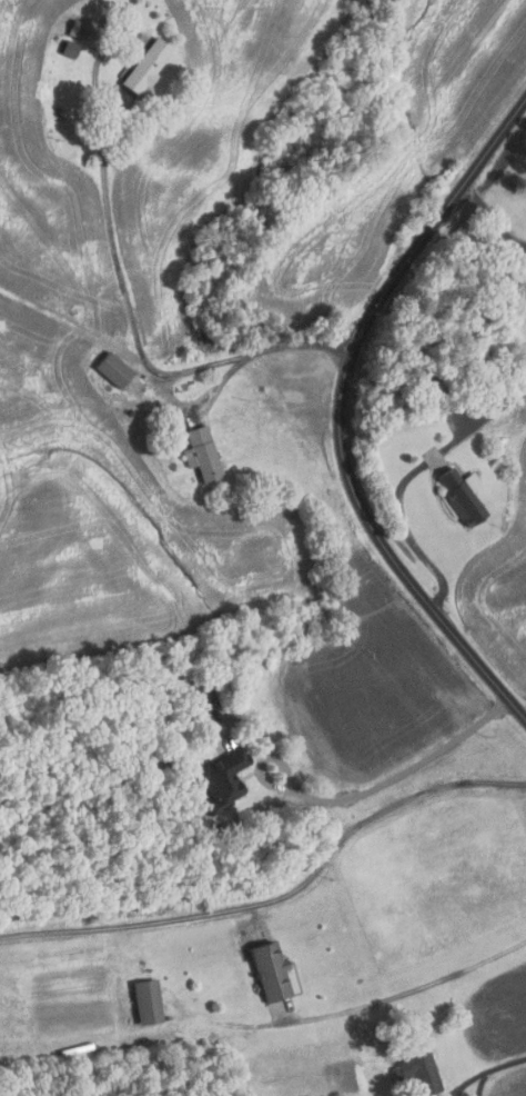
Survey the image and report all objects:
building: (77, 29)
building: (70, 48)
building: (145, 68)
road: (105, 217)
road: (495, 223)
road: (518, 242)
road: (65, 329)
road: (264, 348)
road: (220, 381)
building: (438, 387)
building: (134, 398)
road: (340, 412)
building: (202, 454)
road: (405, 477)
building: (462, 496)
building: (196, 700)
building: (221, 780)
road: (357, 795)
road: (280, 895)
building: (271, 970)
road: (411, 992)
building: (145, 1000)
road: (486, 1073)
building: (418, 1074)

